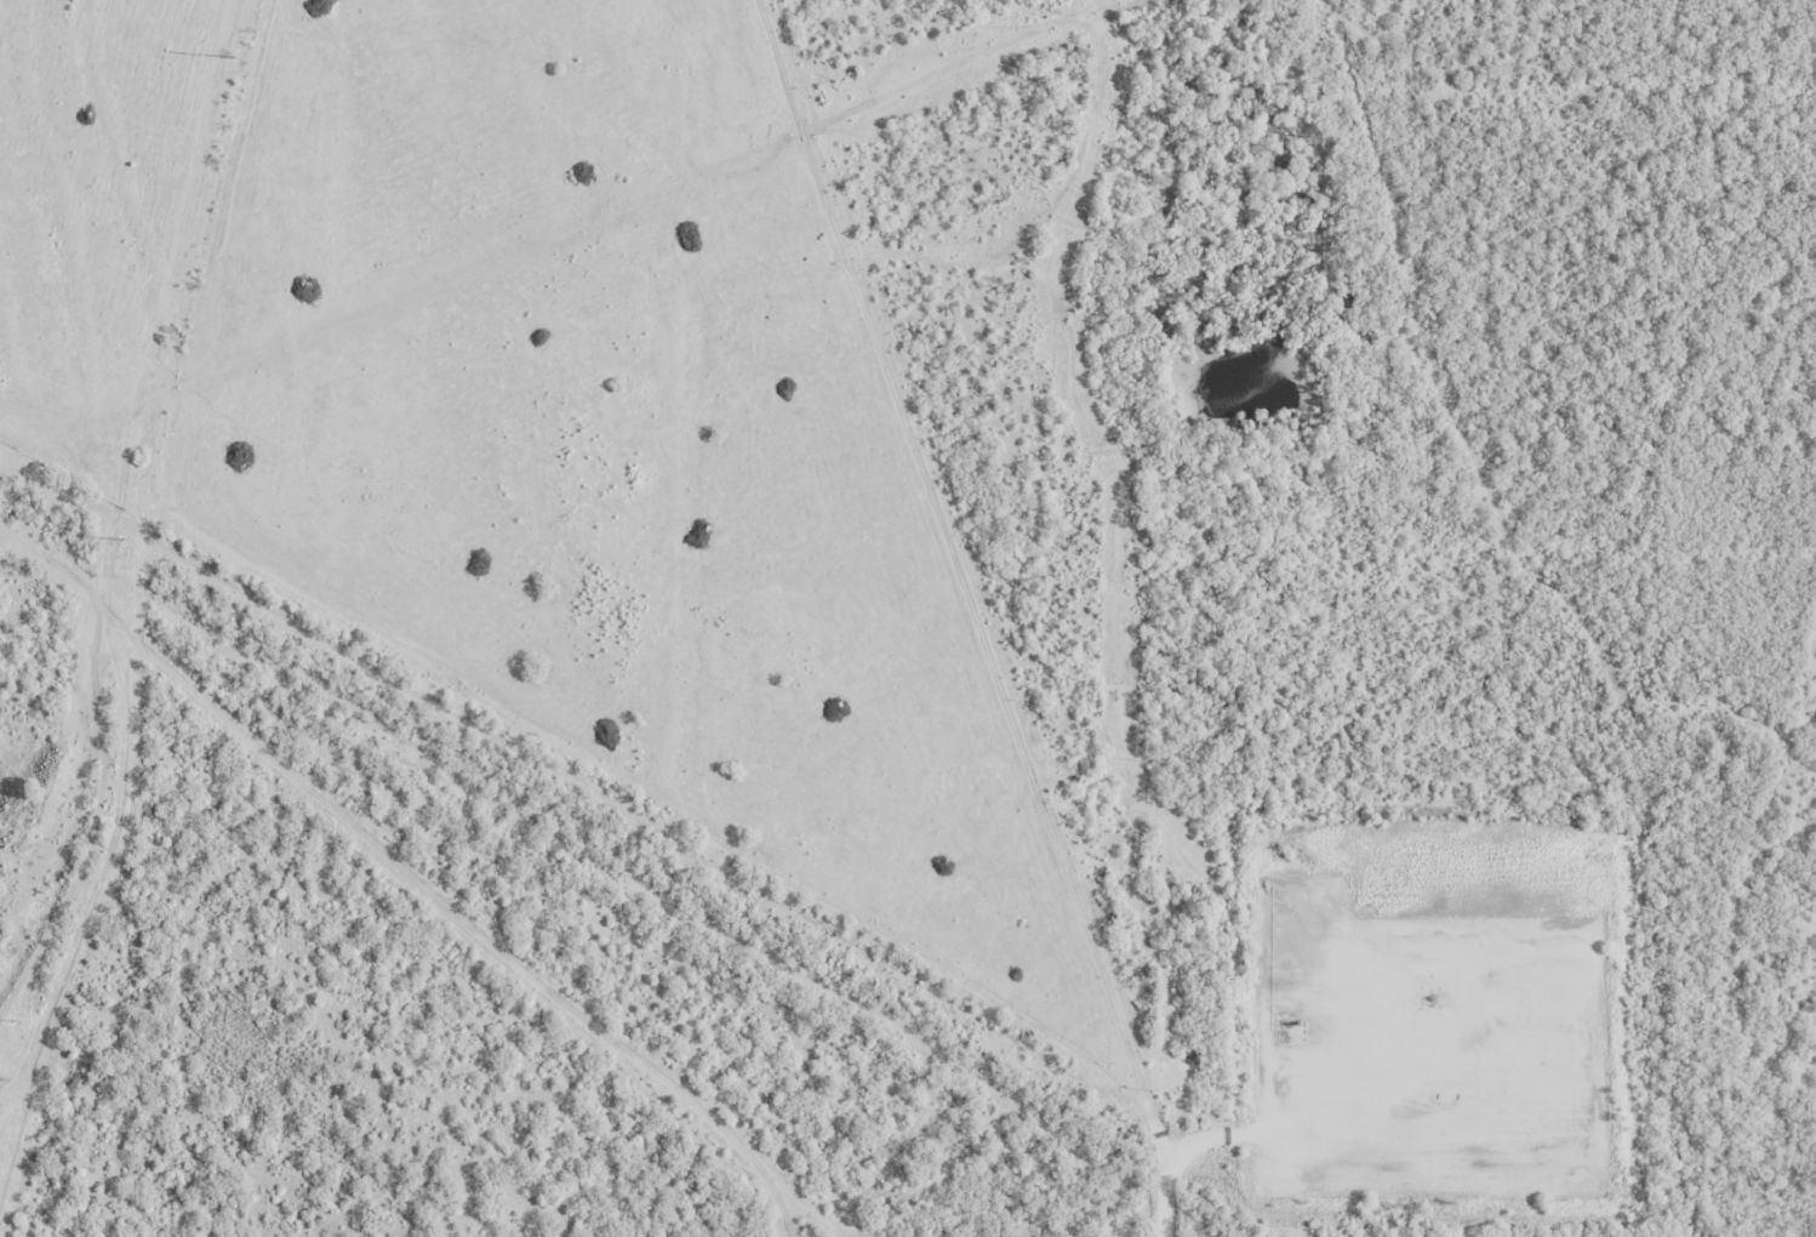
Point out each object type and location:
power tower: (228, 56)
power tower: (119, 538)
power tower: (7, 1021)
road: (1163, 1192)

